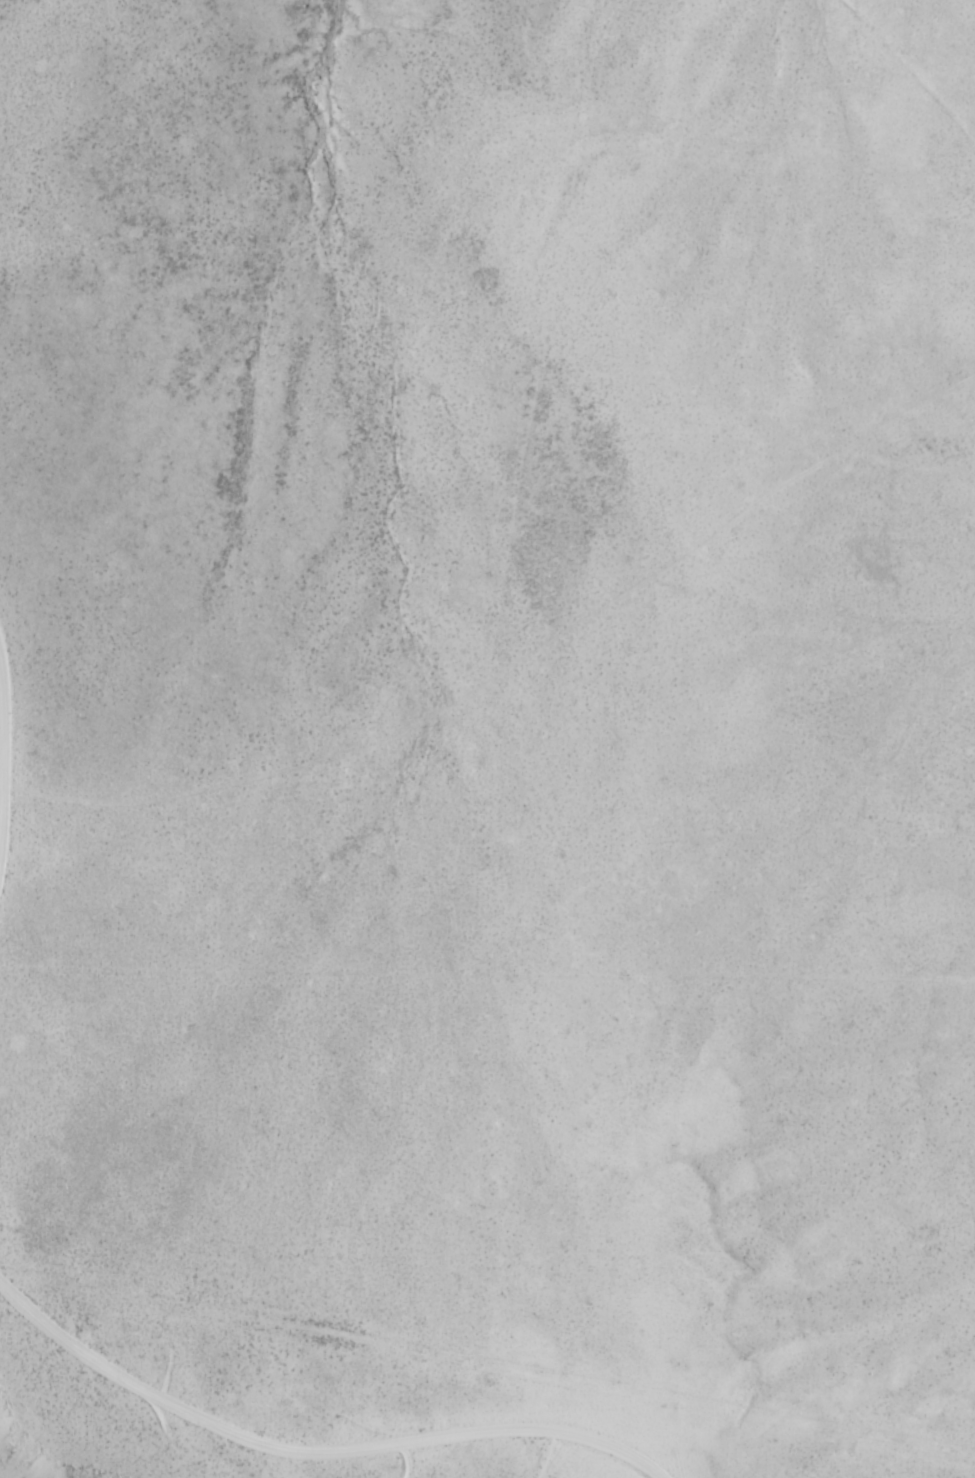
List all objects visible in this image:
road: (1, 713)
road: (308, 1452)

